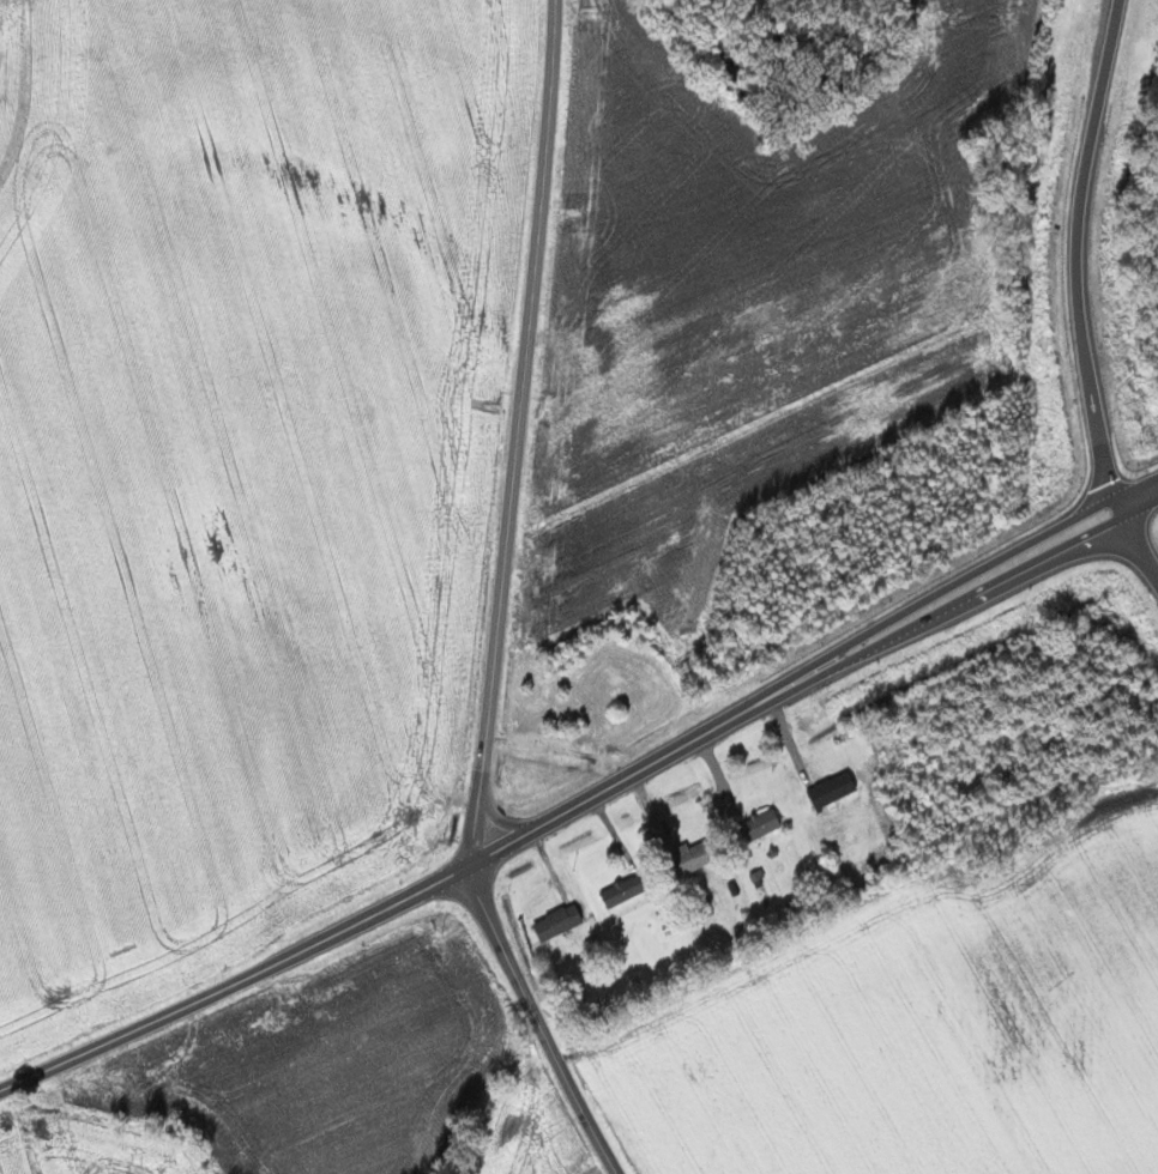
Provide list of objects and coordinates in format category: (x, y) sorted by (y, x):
road: (1078, 295)
road: (500, 603)
road: (815, 672)
building: (834, 787)
building: (761, 823)
building: (696, 854)
building: (626, 889)
building: (560, 920)
road: (237, 969)

